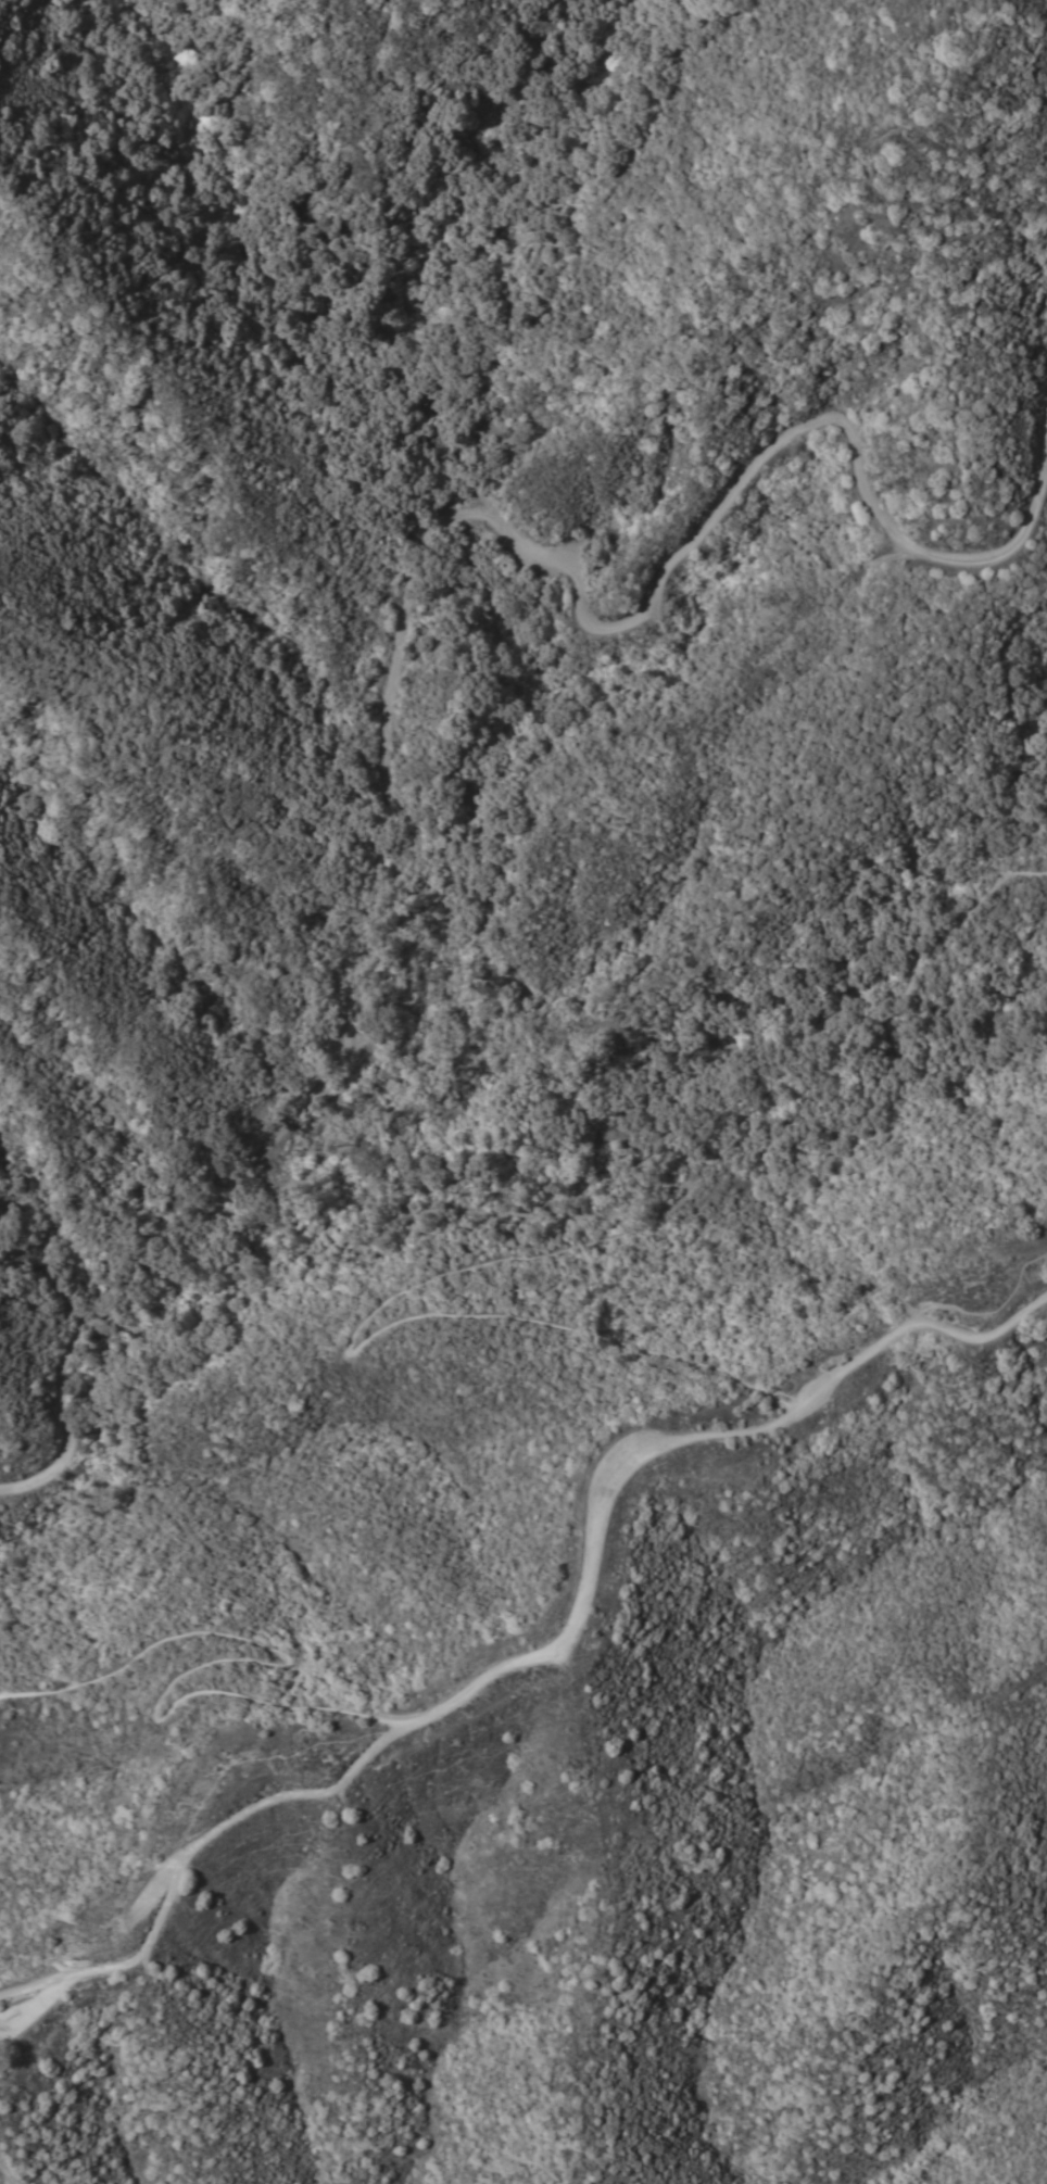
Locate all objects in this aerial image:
road: (400, 618)
road: (468, 795)
park: (521, 892)
road: (689, 1098)
road: (506, 1258)
road: (918, 1326)
road: (591, 1549)
road: (229, 1658)
road: (189, 1854)
road: (1, 2180)

